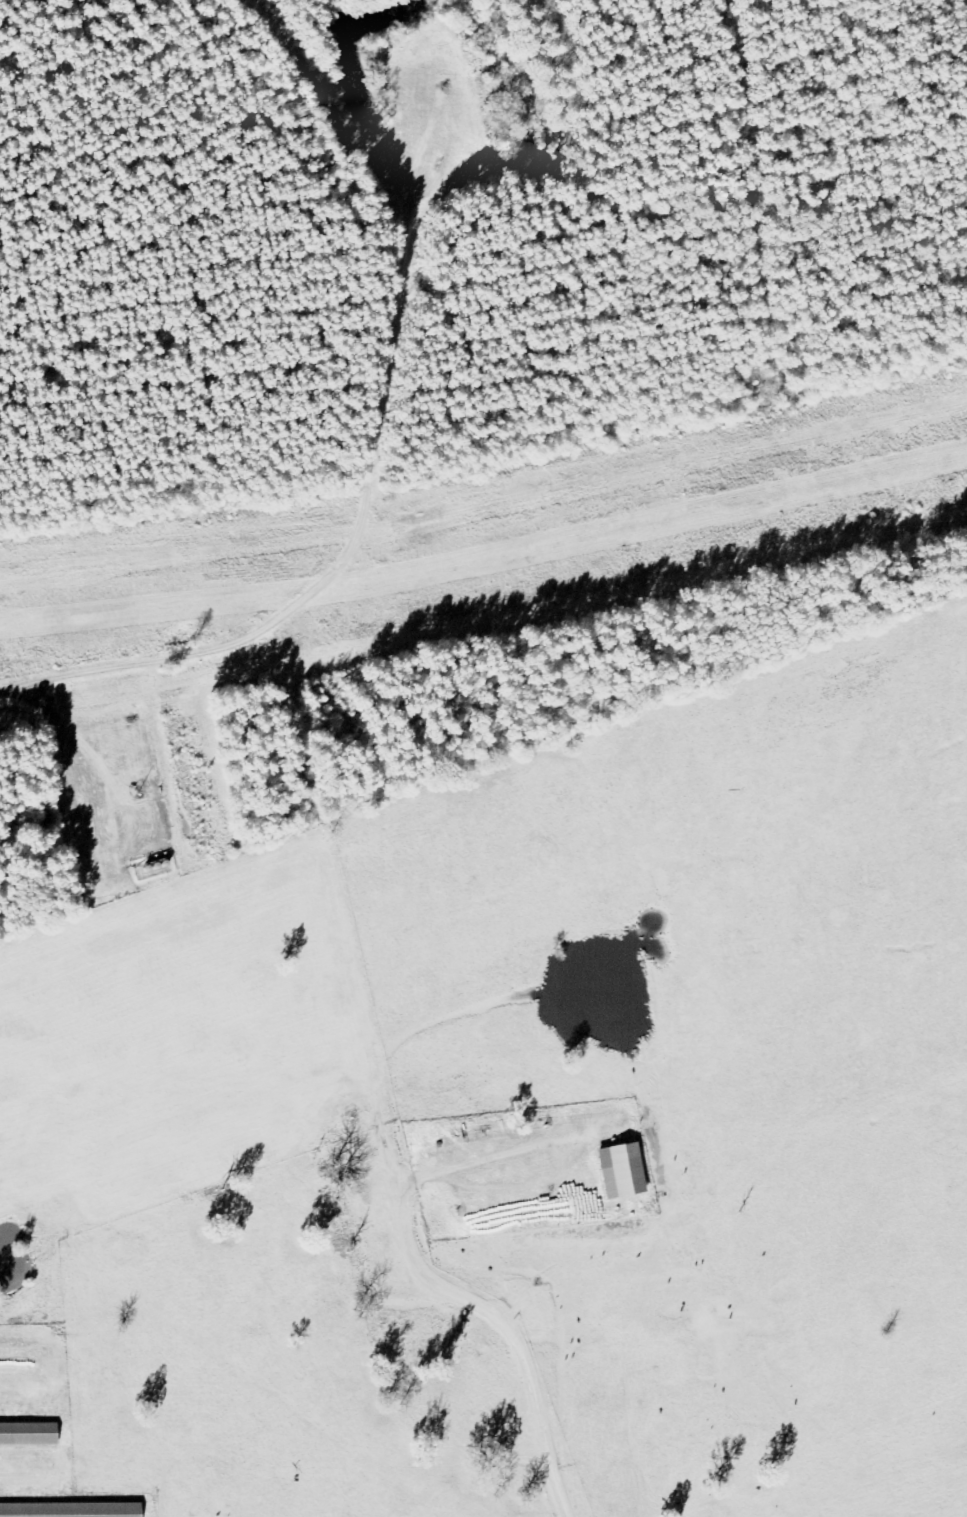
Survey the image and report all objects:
road: (559, 1160)
building: (621, 1172)
road: (495, 1319)
building: (28, 1435)
building: (70, 1510)

